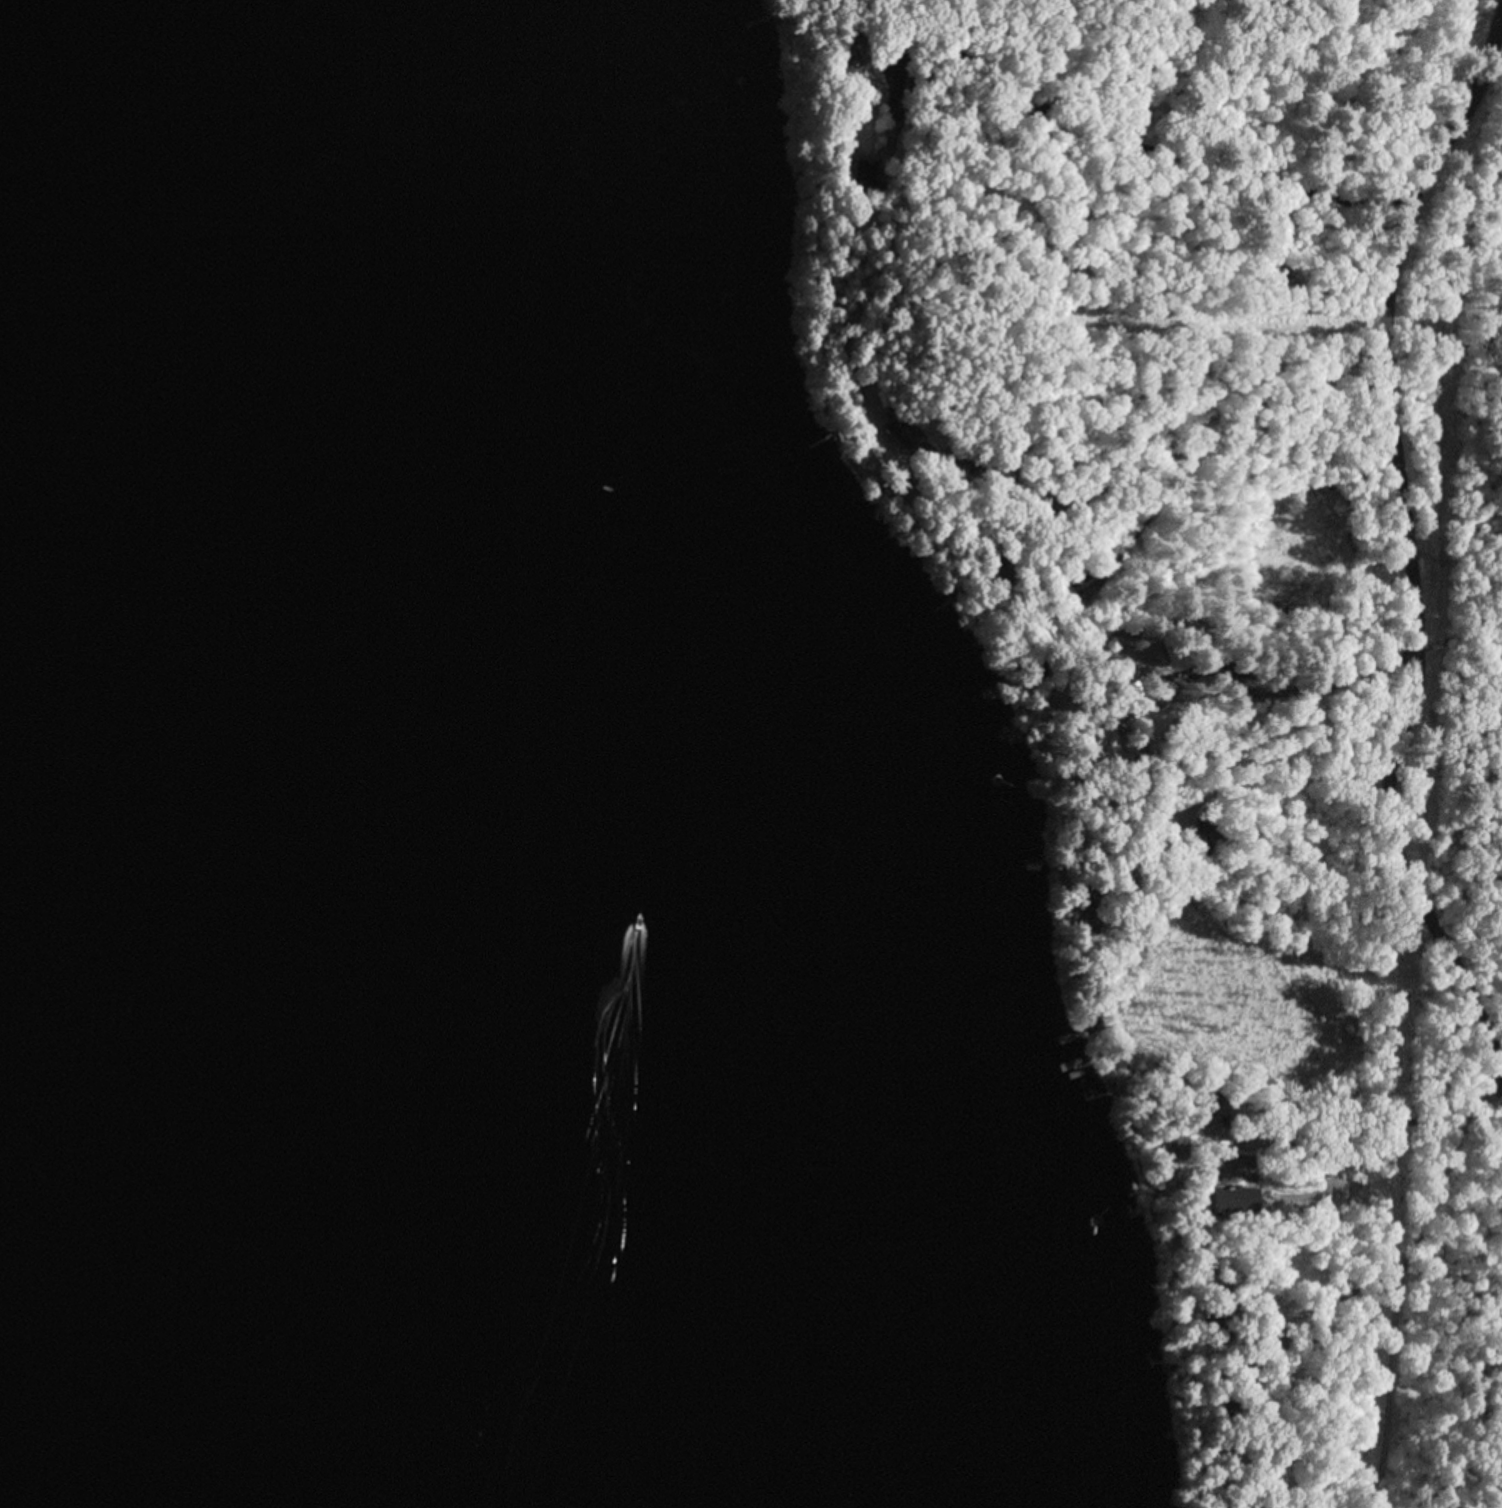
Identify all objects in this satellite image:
building: (845, 52)
building: (915, 80)
building: (861, 177)
road: (1179, 319)
building: (901, 429)
building: (956, 457)
building: (990, 463)
building: (911, 473)
building: (1015, 514)
road: (1432, 528)
building: (1003, 571)
building: (1085, 573)
road: (1290, 577)
building: (957, 594)
building: (1141, 656)
building: (1178, 657)
building: (1035, 670)
building: (1127, 690)
building: (1105, 741)
building: (1207, 832)
building: (1089, 906)
building: (1091, 1024)
building: (1113, 1084)
building: (1210, 1101)
building: (1168, 1150)
building: (1226, 1198)
building: (1214, 1316)
building: (1249, 1368)

